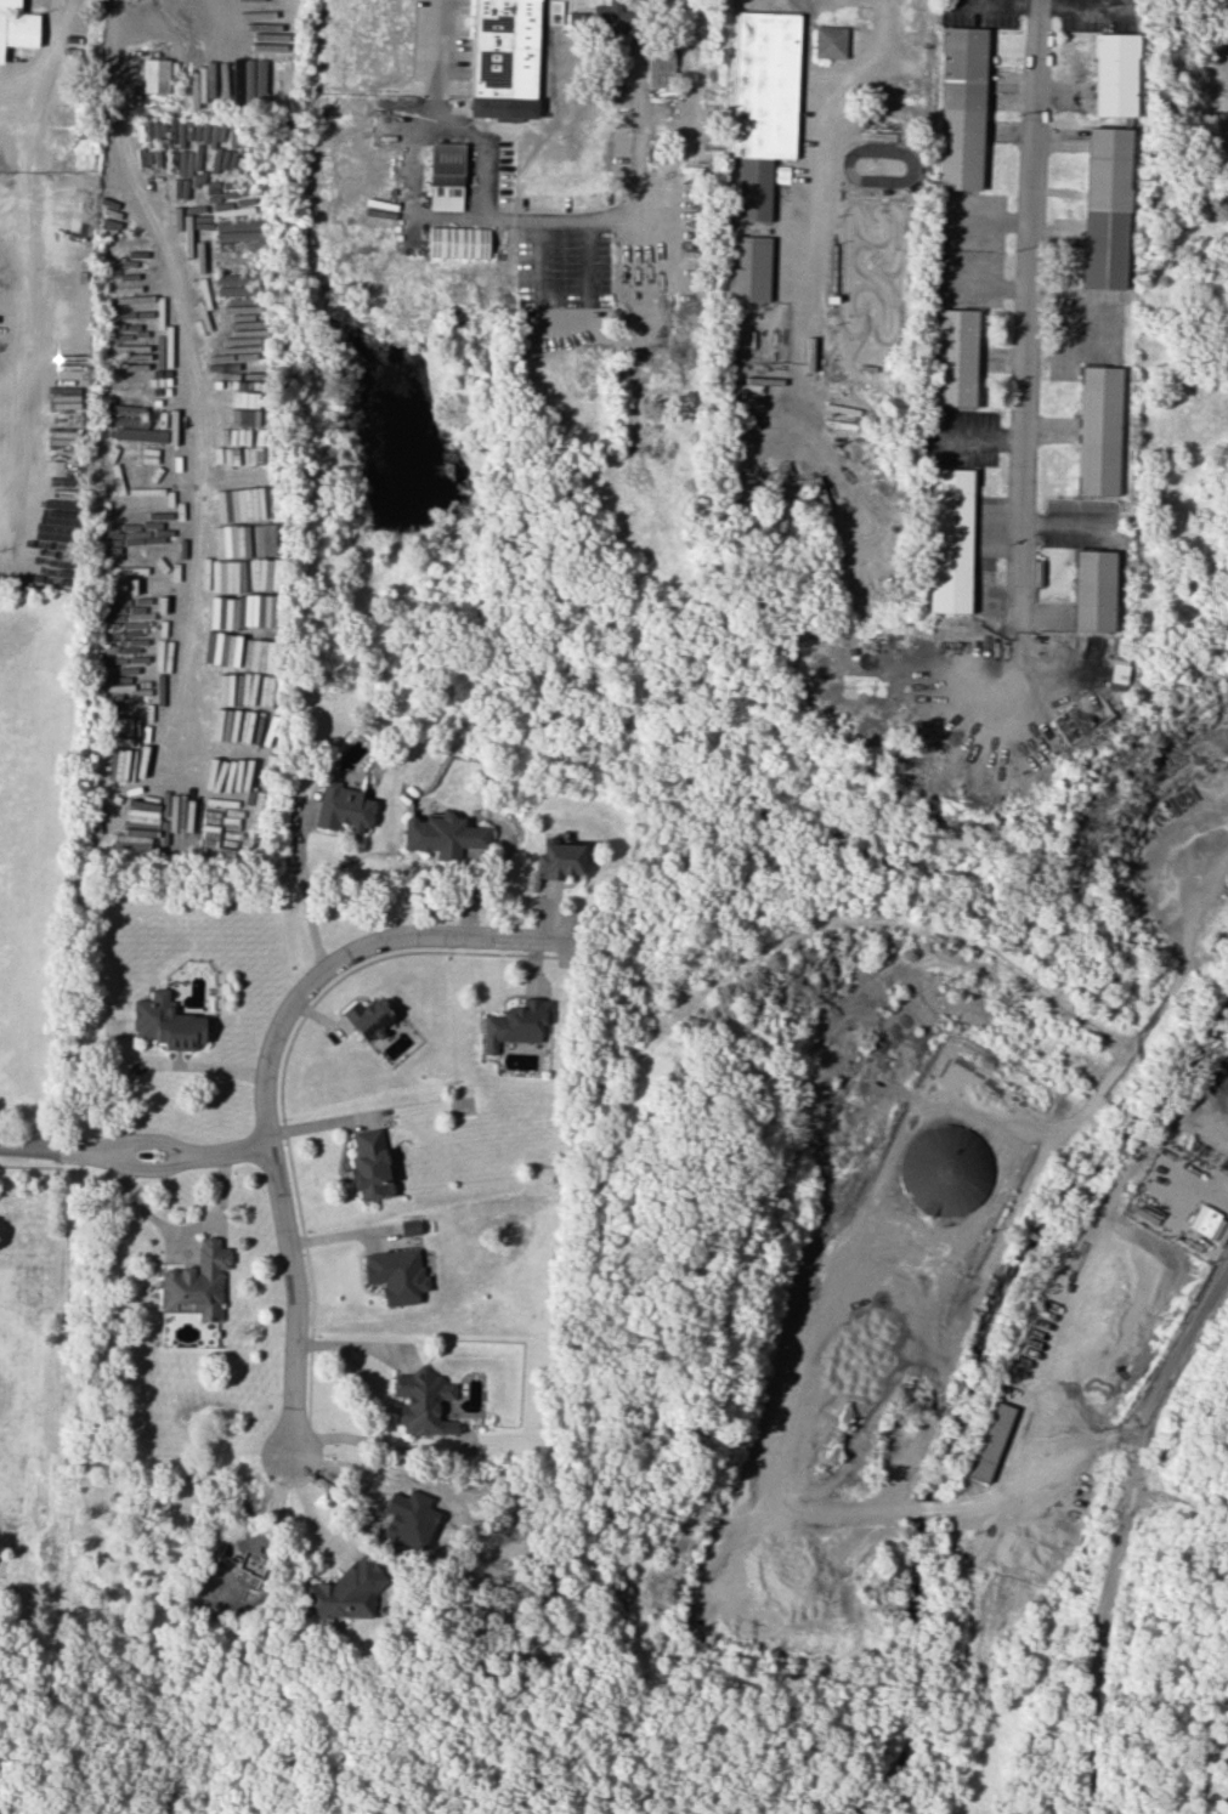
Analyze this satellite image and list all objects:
building: (601, 17)
building: (16, 25)
building: (828, 41)
road: (448, 46)
road: (470, 47)
road: (810, 47)
building: (500, 53)
road: (45, 58)
road: (865, 58)
building: (660, 68)
building: (1114, 74)
building: (154, 75)
building: (762, 104)
building: (961, 108)
building: (445, 176)
road: (814, 187)
building: (1105, 208)
road: (594, 219)
road: (18, 238)
building: (457, 242)
building: (747, 268)
road: (1025, 317)
building: (955, 357)
road: (187, 363)
road: (6, 390)
road: (6, 420)
building: (1098, 430)
building: (949, 540)
building: (1092, 590)
building: (341, 807)
building: (442, 835)
building: (556, 857)
road: (306, 902)
building: (367, 1016)
building: (165, 1022)
building: (515, 1024)
road: (154, 1064)
road: (265, 1084)
road: (134, 1149)
building: (369, 1166)
building: (943, 1167)
building: (1209, 1221)
building: (409, 1226)
building: (395, 1275)
building: (196, 1282)
road: (362, 1372)
building: (421, 1404)
road: (1125, 1440)
building: (988, 1441)
road: (380, 1446)
road: (1130, 1473)
road: (1030, 1481)
road: (927, 1508)
road: (843, 1510)
building: (345, 1592)
park: (487, 1744)
road: (1088, 1756)

